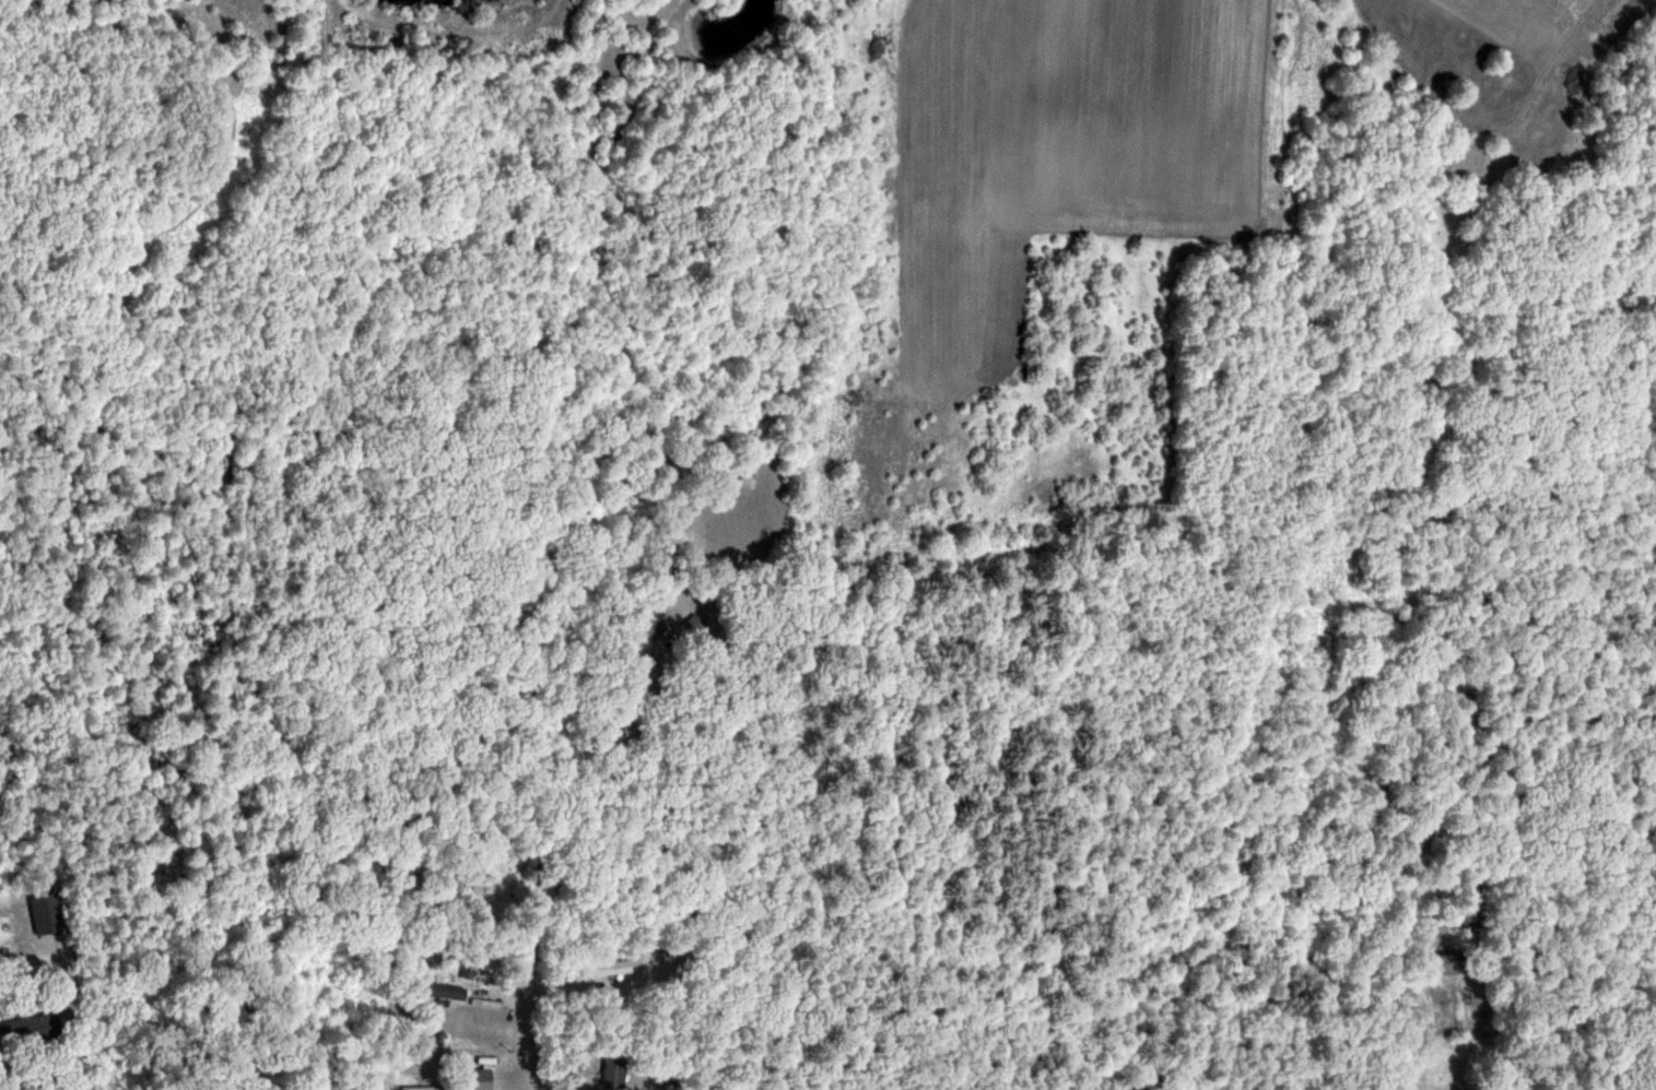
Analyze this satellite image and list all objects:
building: (647, 619)
building: (46, 911)
road: (1052, 925)
building: (1453, 962)
building: (607, 967)
building: (439, 988)
road: (522, 1026)
building: (30, 1028)
building: (479, 1078)

